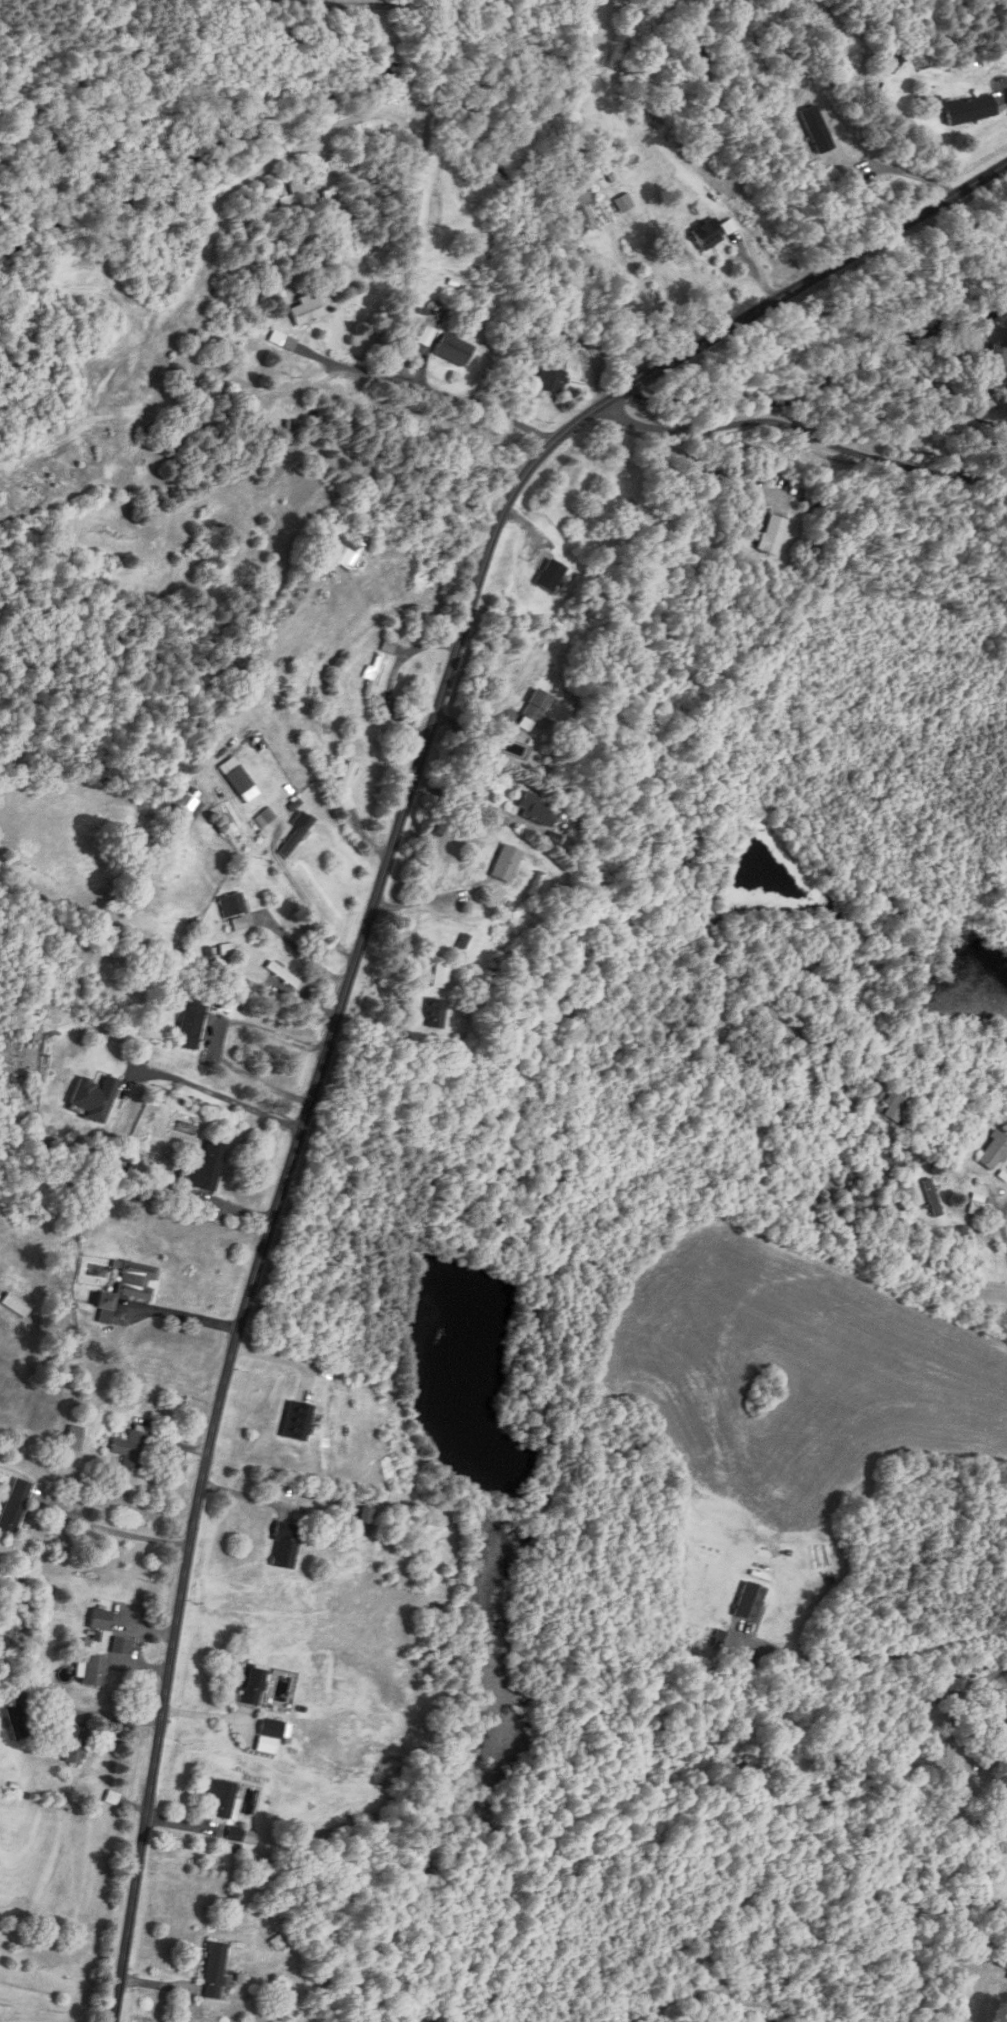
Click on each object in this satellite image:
building: (897, 52)
building: (966, 109)
road: (424, 142)
road: (910, 176)
building: (619, 195)
building: (294, 202)
building: (586, 227)
building: (706, 235)
road: (773, 305)
building: (306, 311)
building: (426, 336)
building: (283, 341)
building: (453, 350)
building: (997, 365)
building: (552, 376)
road: (486, 414)
road: (815, 430)
road: (687, 459)
building: (772, 535)
building: (344, 553)
building: (550, 576)
building: (373, 675)
building: (533, 711)
building: (210, 744)
building: (347, 777)
road: (472, 802)
building: (188, 804)
building: (534, 809)
building: (296, 836)
building: (505, 864)
road: (304, 897)
building: (231, 905)
road: (299, 947)
building: (282, 975)
building: (441, 977)
building: (434, 1014)
building: (190, 1026)
road: (204, 1040)
building: (93, 1097)
road: (214, 1101)
building: (895, 1104)
building: (849, 1106)
building: (992, 1153)
building: (205, 1168)
building: (931, 1198)
road: (274, 1217)
road: (1002, 1232)
building: (128, 1289)
road: (184, 1314)
building: (295, 1419)
building: (73, 1438)
building: (130, 1449)
building: (15, 1504)
road: (117, 1531)
building: (283, 1544)
building: (749, 1601)
road: (882, 1653)
building: (93, 1670)
building: (956, 1685)
building: (251, 1686)
building: (17, 1721)
building: (270, 1727)
building: (1003, 1731)
building: (75, 1745)
building: (222, 1797)
road: (721, 1892)
building: (277, 1942)
building: (1003, 1959)
building: (213, 1970)

